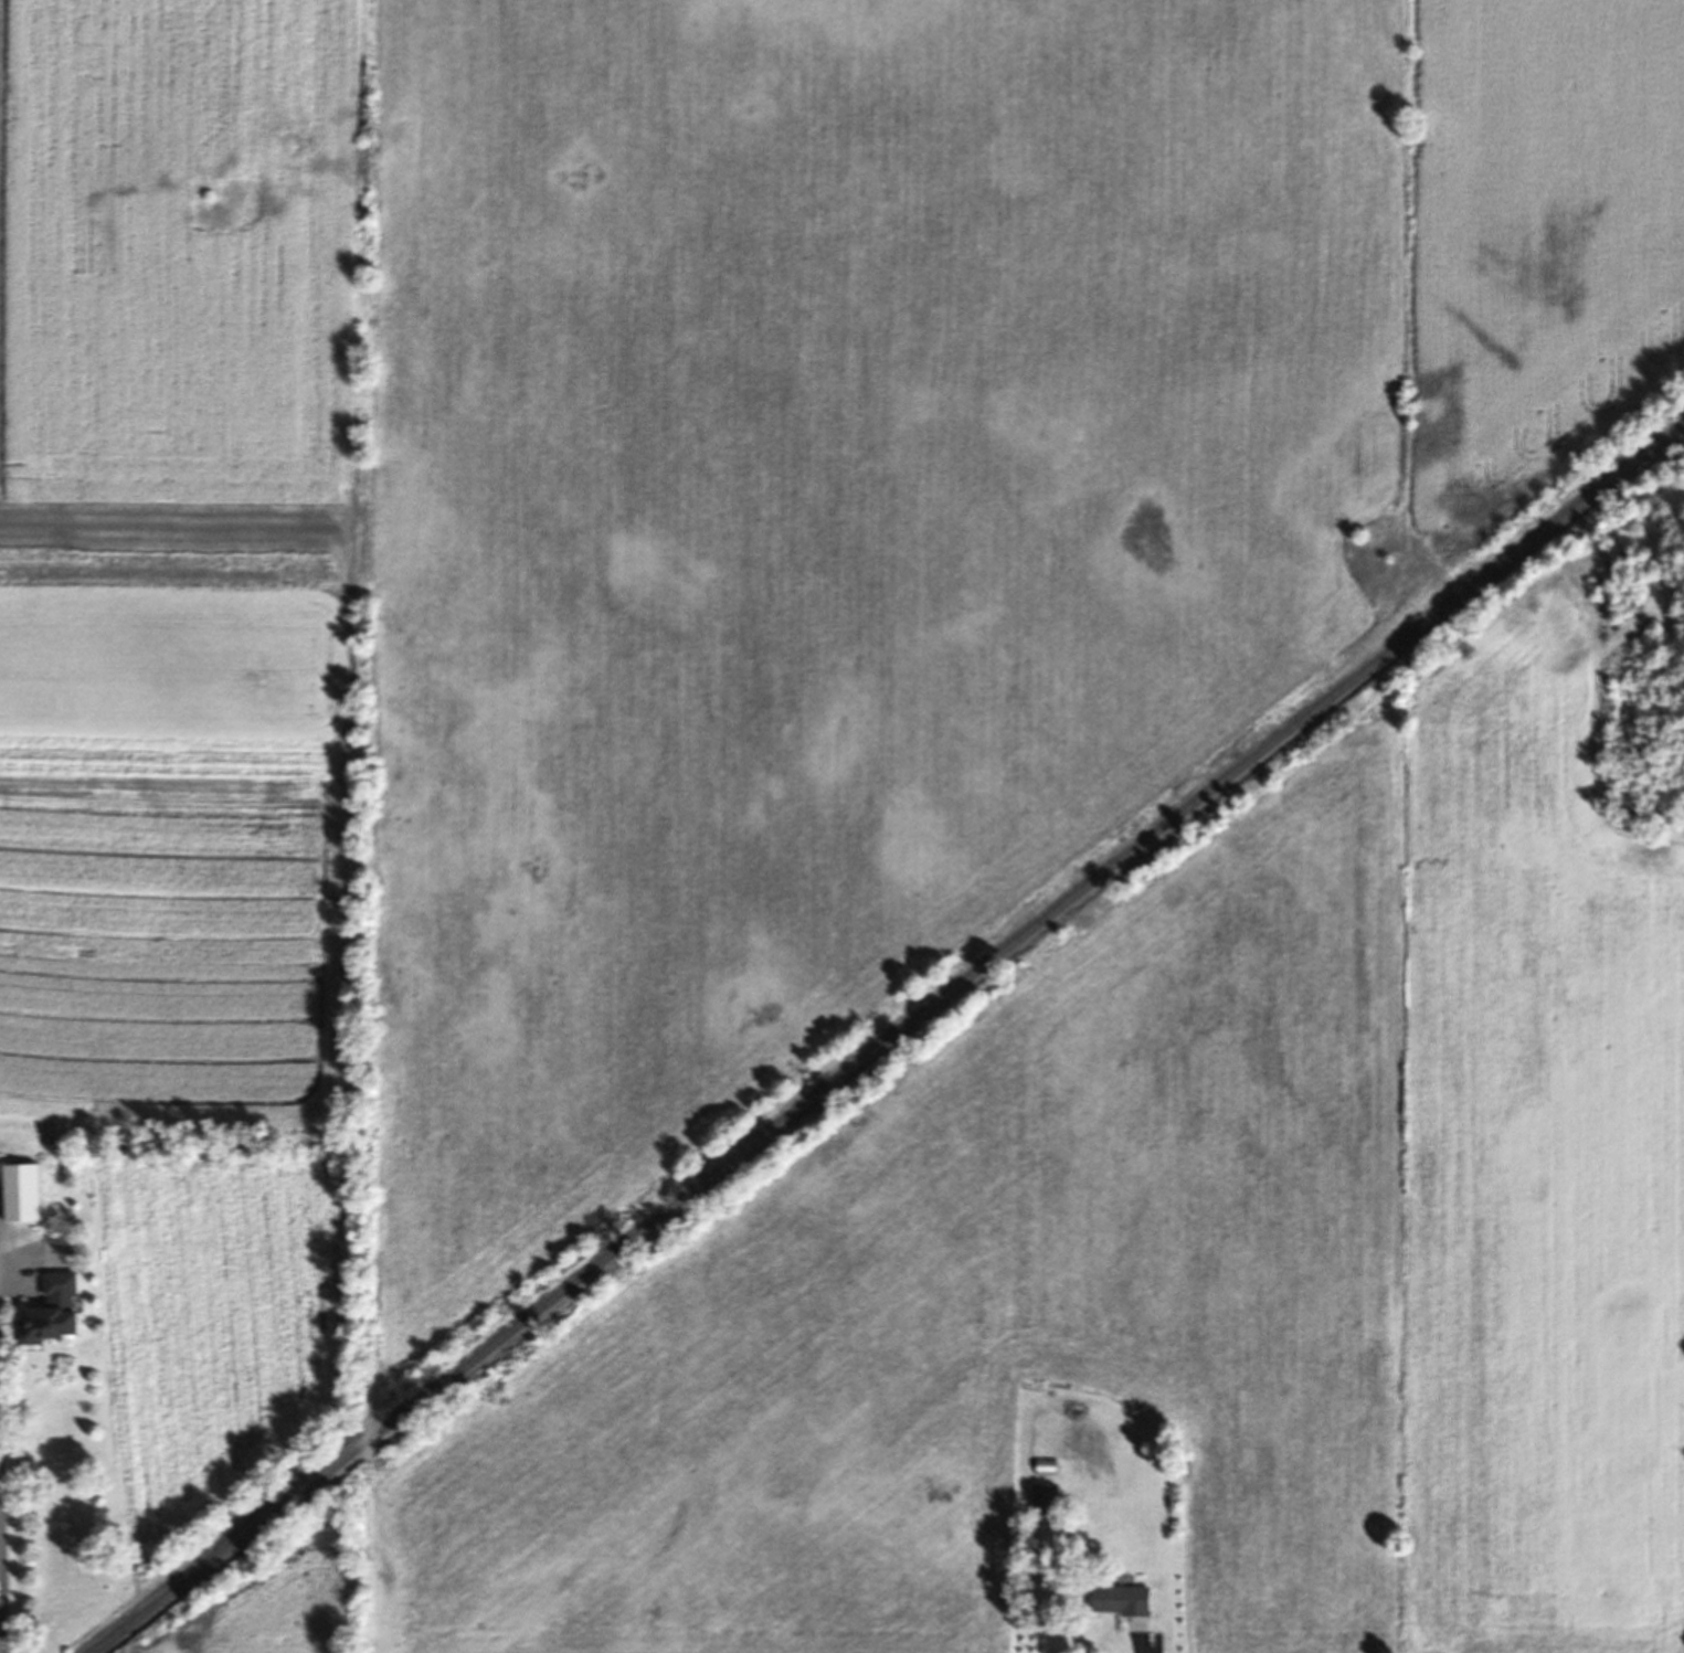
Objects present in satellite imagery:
crop: (688, 562)
railway: (891, 1041)
building: (3, 1170)
building: (34, 1195)
building: (62, 1317)
building: (1042, 1470)
building: (1039, 1507)
road: (1, 1519)
building: (1116, 1602)

